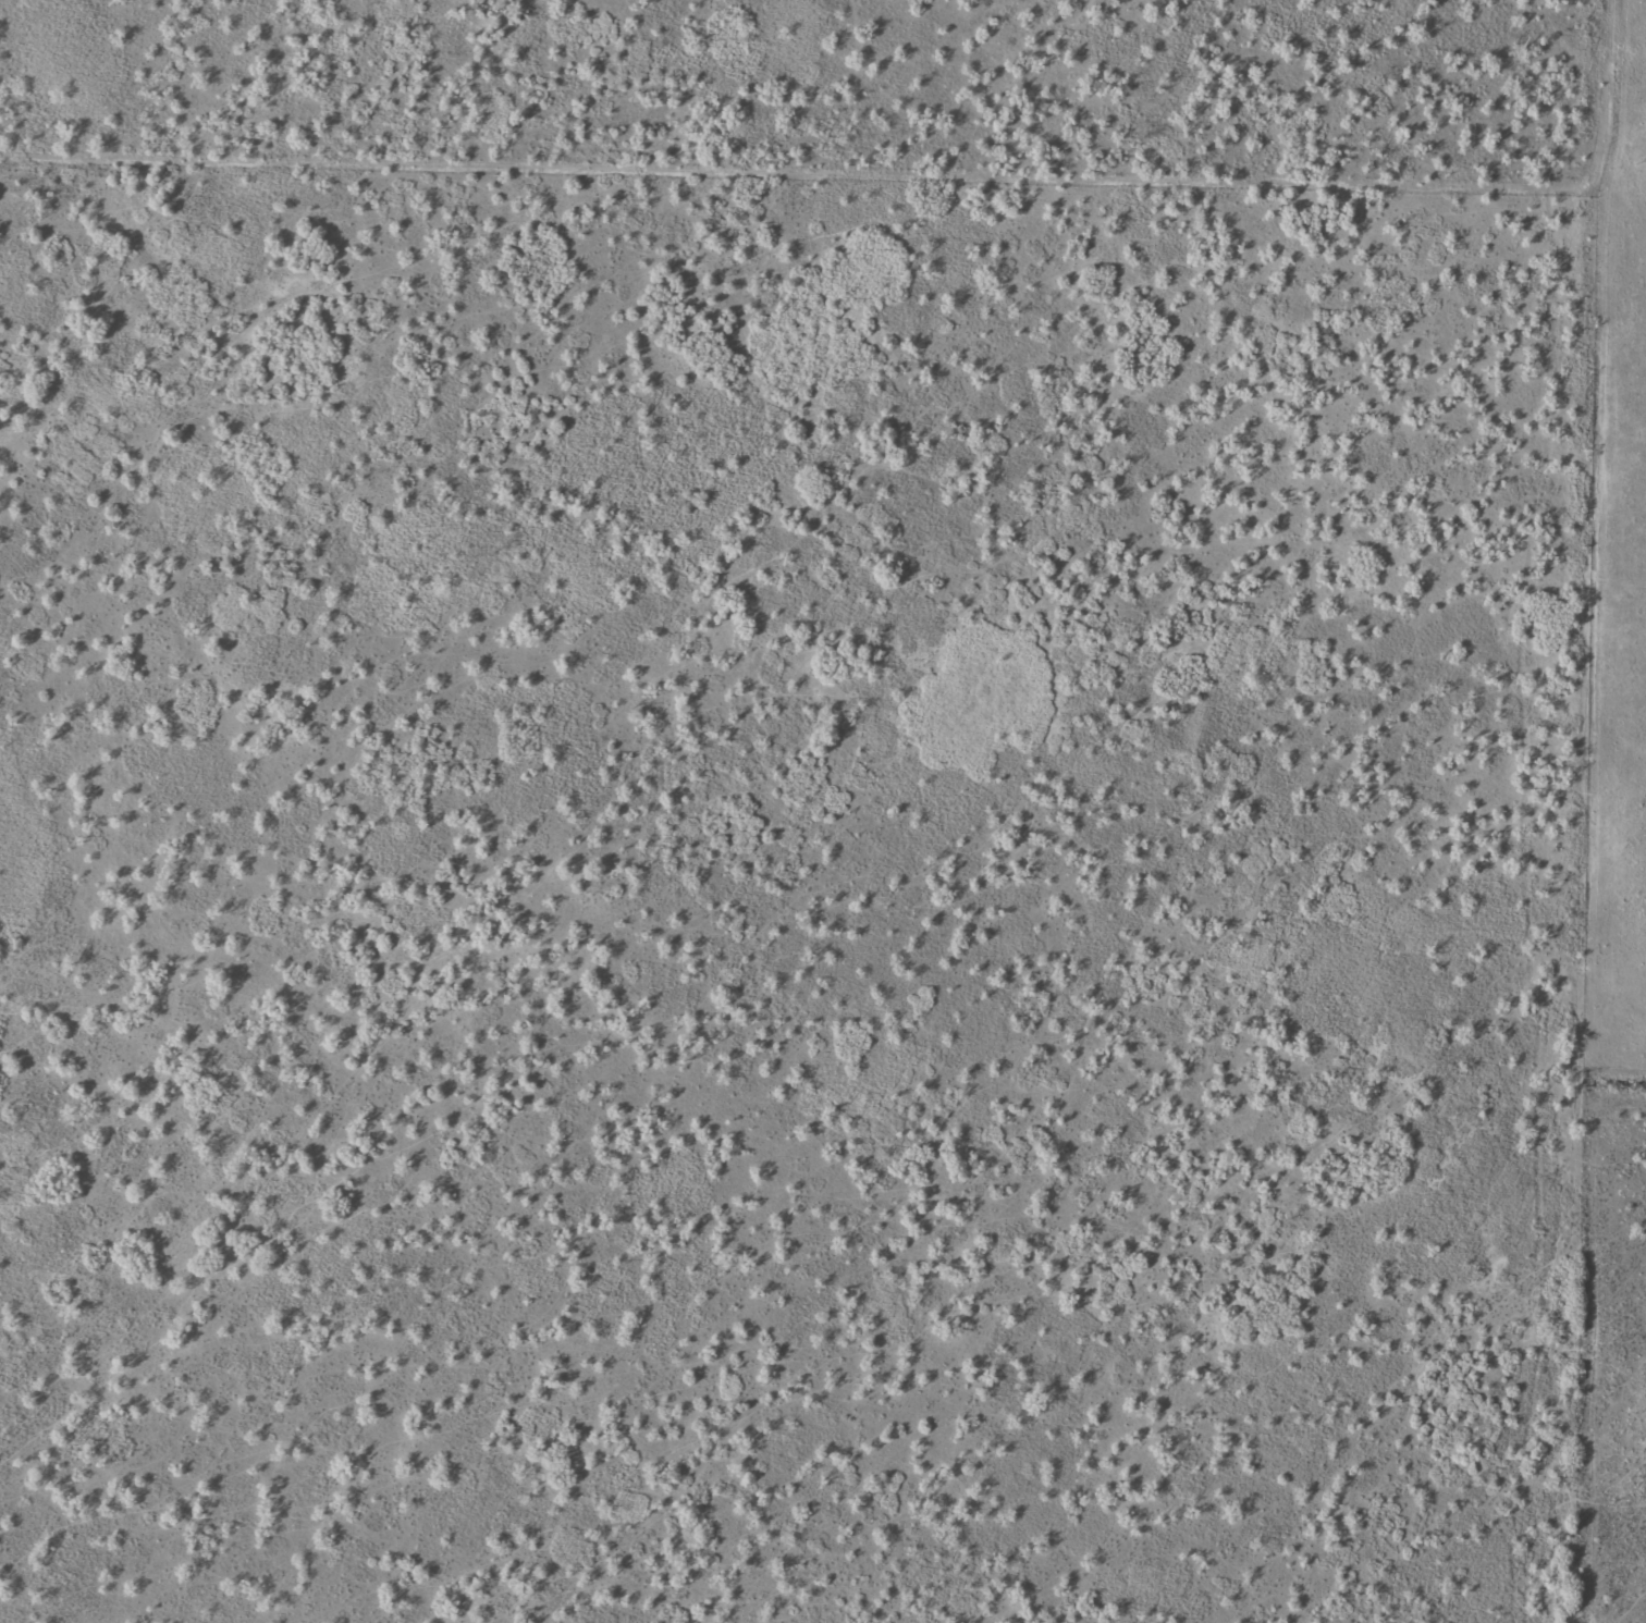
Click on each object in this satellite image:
power tower: (1644, 162)

